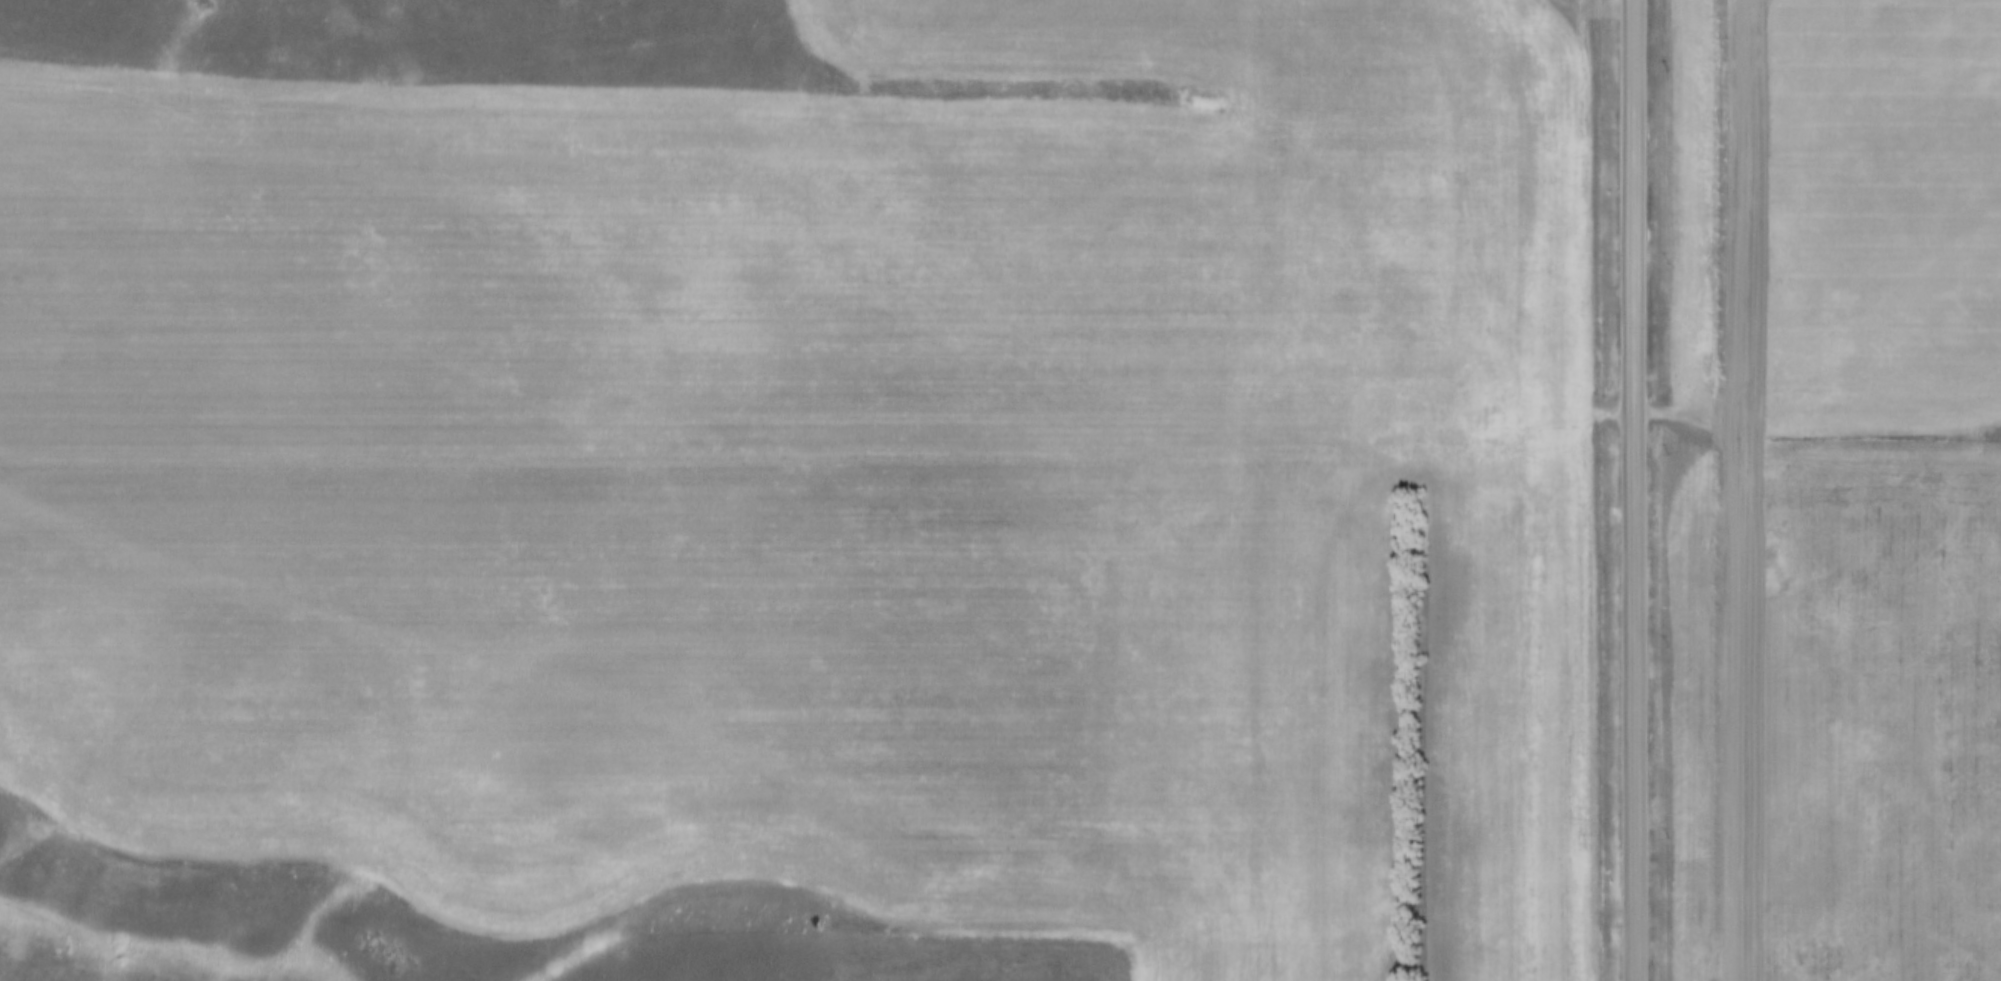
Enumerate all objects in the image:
road: (1633, 490)

